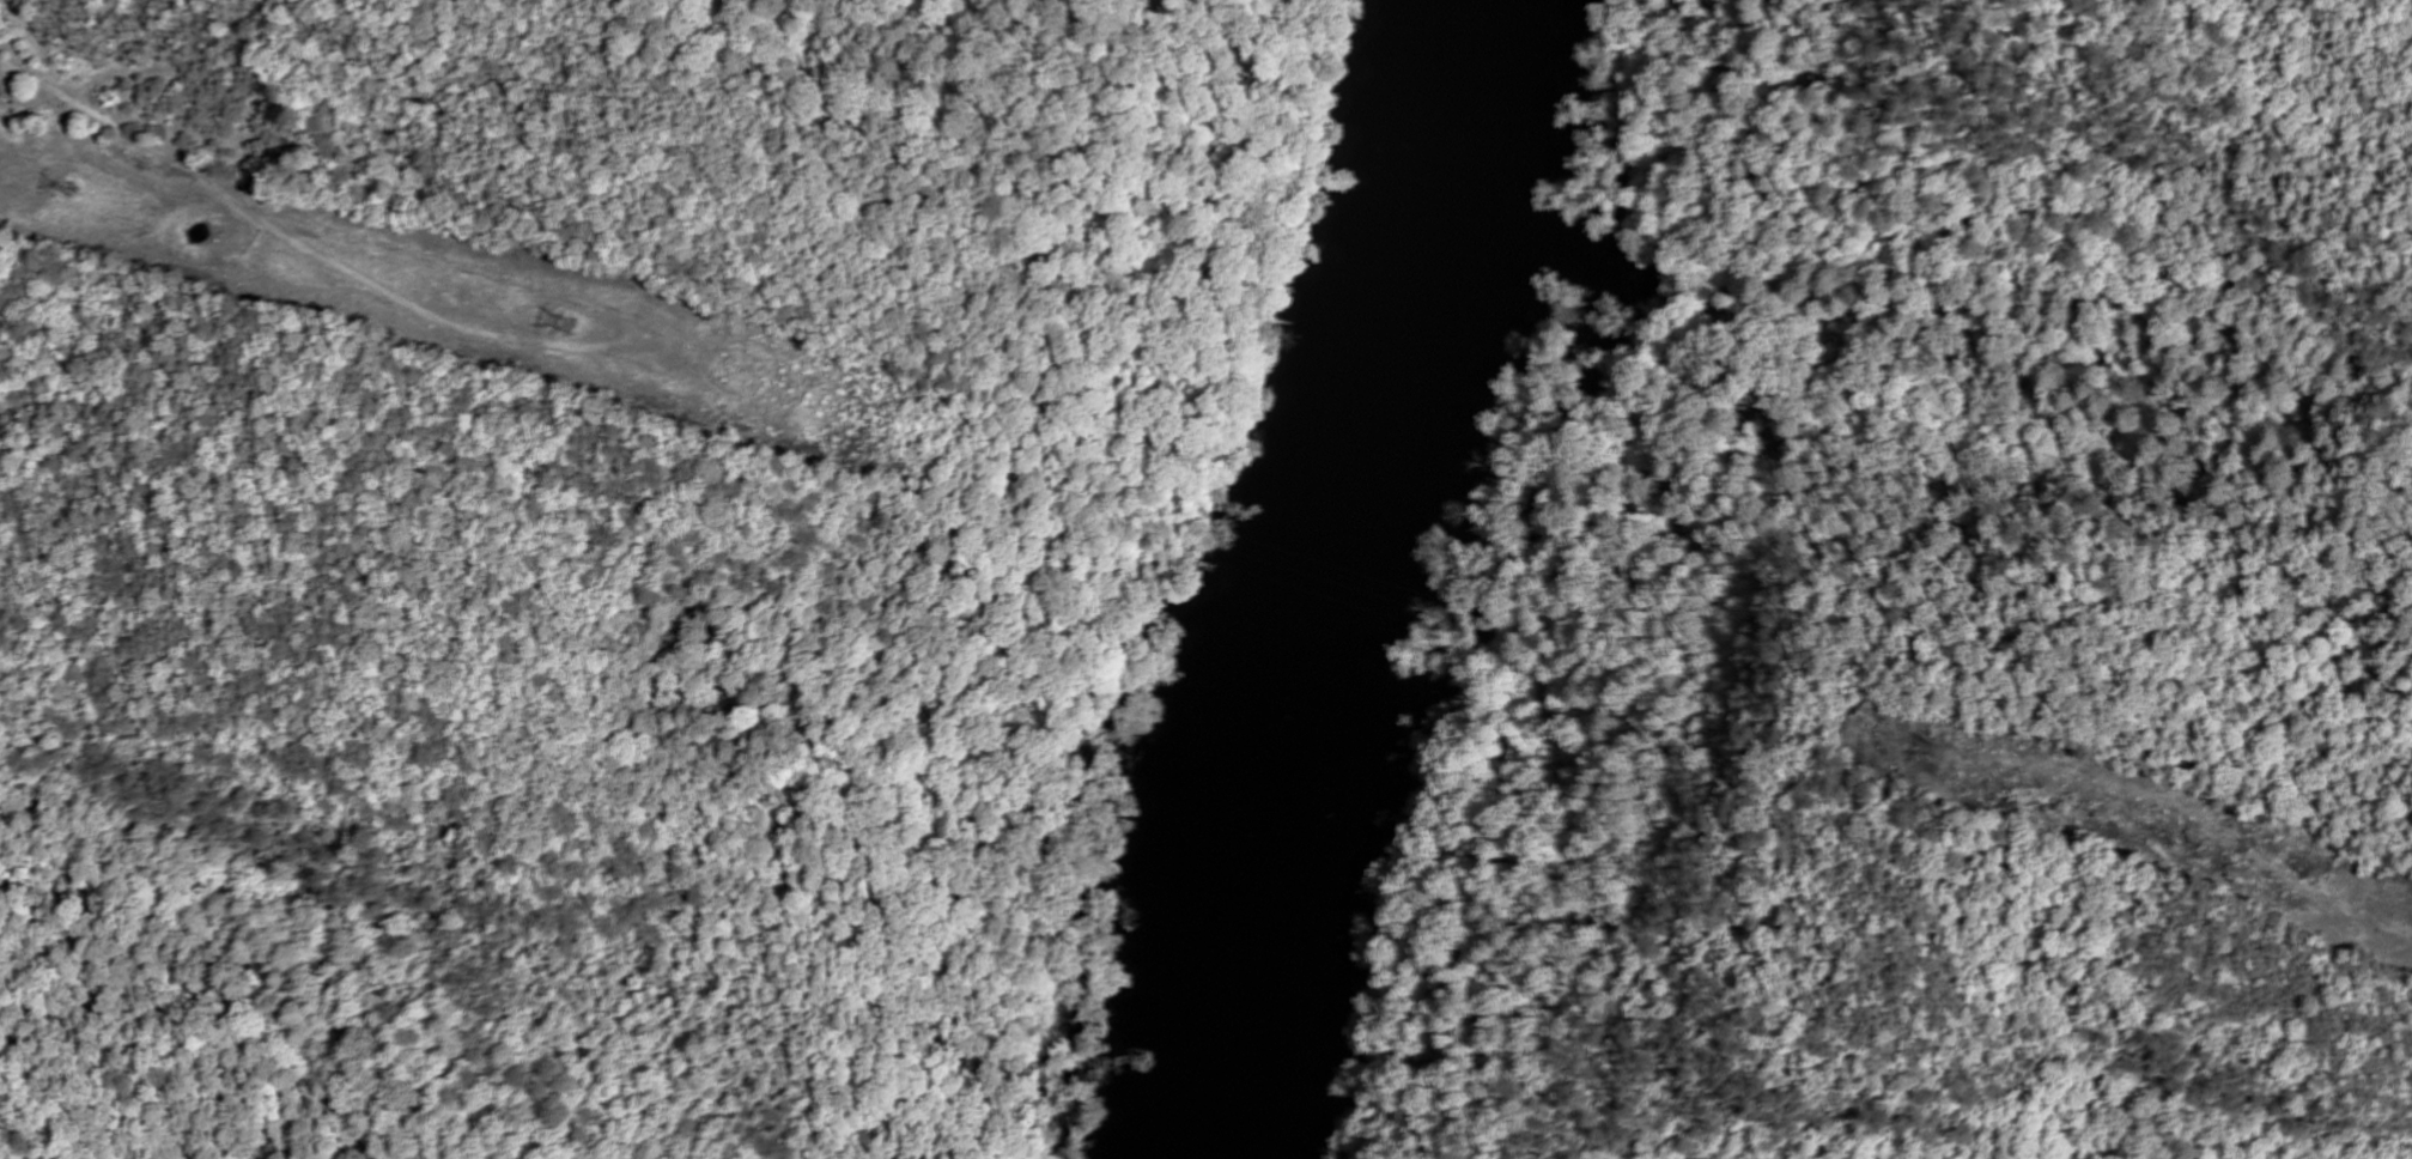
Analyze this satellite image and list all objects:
road: (360, 279)
river: (1327, 574)

